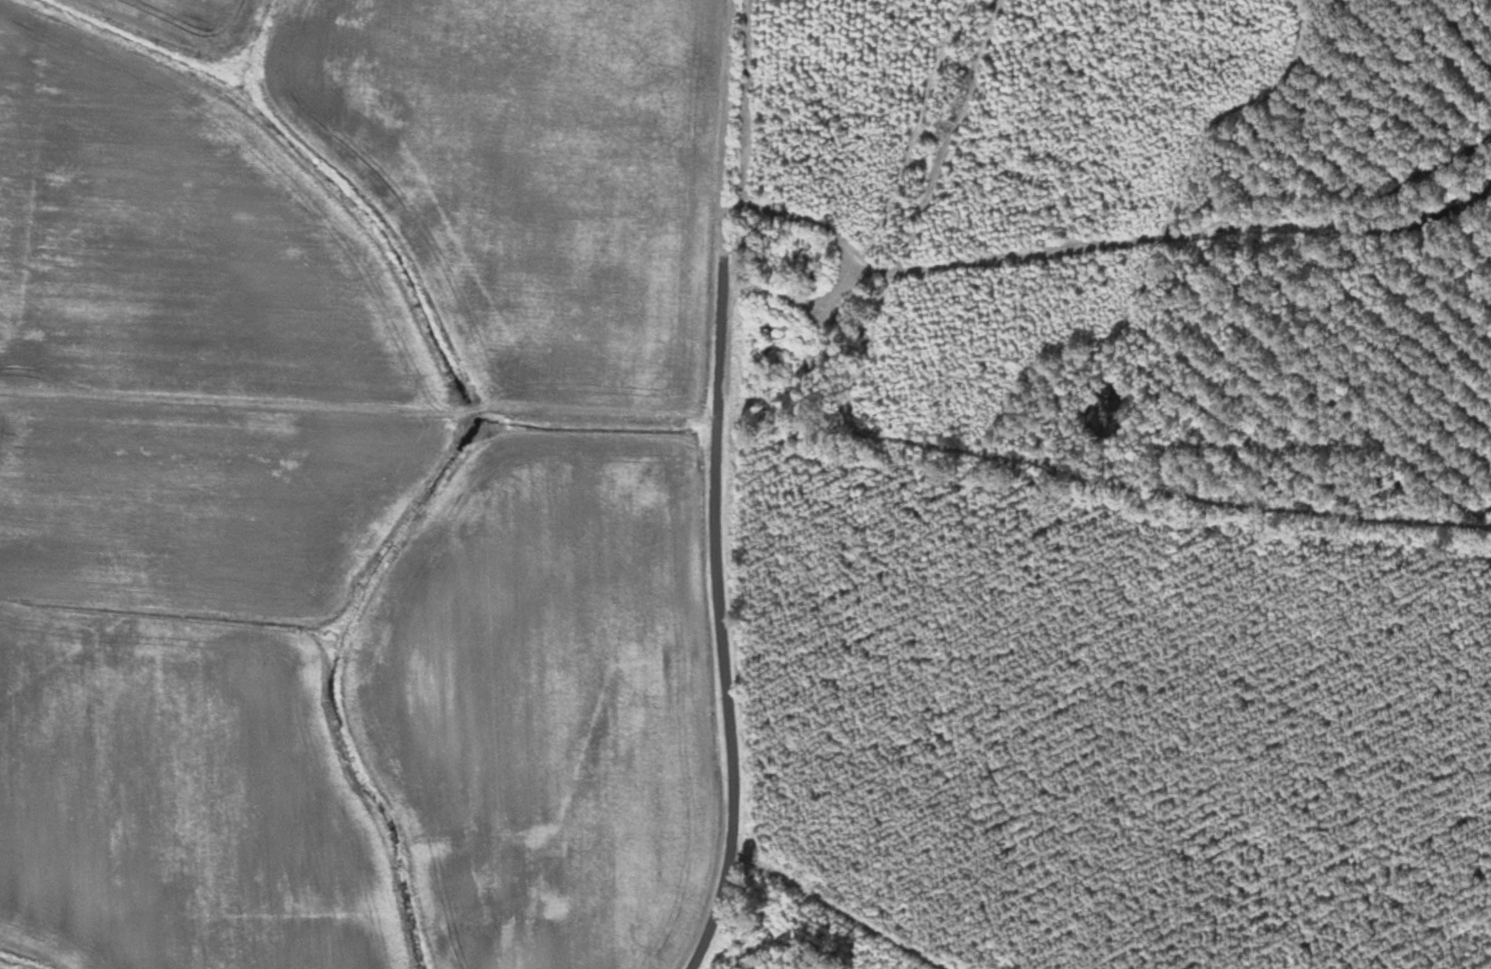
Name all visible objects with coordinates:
road: (719, 615)
road: (835, 908)

